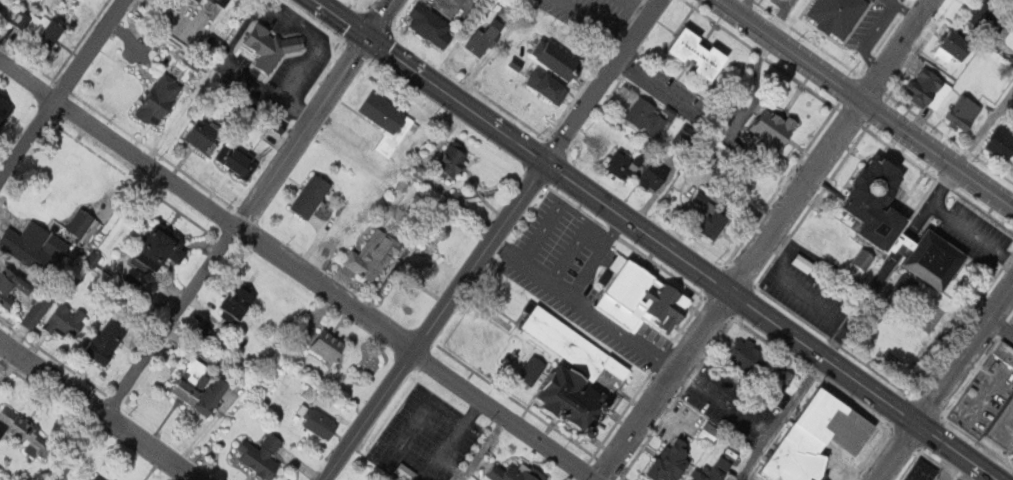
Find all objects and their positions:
building: (202, 1)
building: (223, 2)
building: (832, 15)
building: (983, 16)
building: (1011, 20)
building: (31, 25)
building: (433, 26)
building: (489, 34)
building: (55, 35)
traffic signals: (367, 40)
building: (272, 47)
building: (952, 47)
road: (897, 48)
building: (688, 53)
building: (558, 59)
building: (549, 86)
road: (61, 88)
building: (927, 89)
building: (162, 100)
road: (868, 101)
building: (5, 111)
building: (962, 112)
building: (648, 116)
building: (388, 122)
building: (767, 127)
building: (205, 134)
building: (685, 136)
building: (1002, 139)
building: (454, 160)
building: (238, 161)
building: (626, 163)
building: (657, 175)
building: (313, 194)
building: (702, 197)
road: (568, 207)
road: (251, 209)
building: (83, 221)
building: (720, 222)
building: (901, 225)
road: (972, 231)
road: (488, 239)
road: (653, 241)
building: (37, 245)
building: (163, 247)
building: (377, 253)
road: (570, 253)
building: (805, 262)
road: (888, 262)
road: (298, 269)
building: (12, 284)
road: (559, 287)
road: (729, 287)
building: (645, 300)
building: (239, 303)
building: (37, 310)
building: (67, 320)
road: (622, 334)
building: (108, 340)
building: (330, 345)
building: (1003, 352)
building: (746, 355)
building: (531, 369)
building: (572, 370)
road: (943, 382)
building: (777, 383)
building: (202, 387)
building: (311, 393)
road: (98, 412)
road: (781, 419)
building: (321, 423)
building: (1002, 428)
building: (25, 431)
building: (708, 432)
building: (817, 439)
building: (264, 455)
building: (671, 460)
building: (714, 470)
building: (408, 471)
building: (920, 471)
building: (517, 472)
building: (99, 477)

